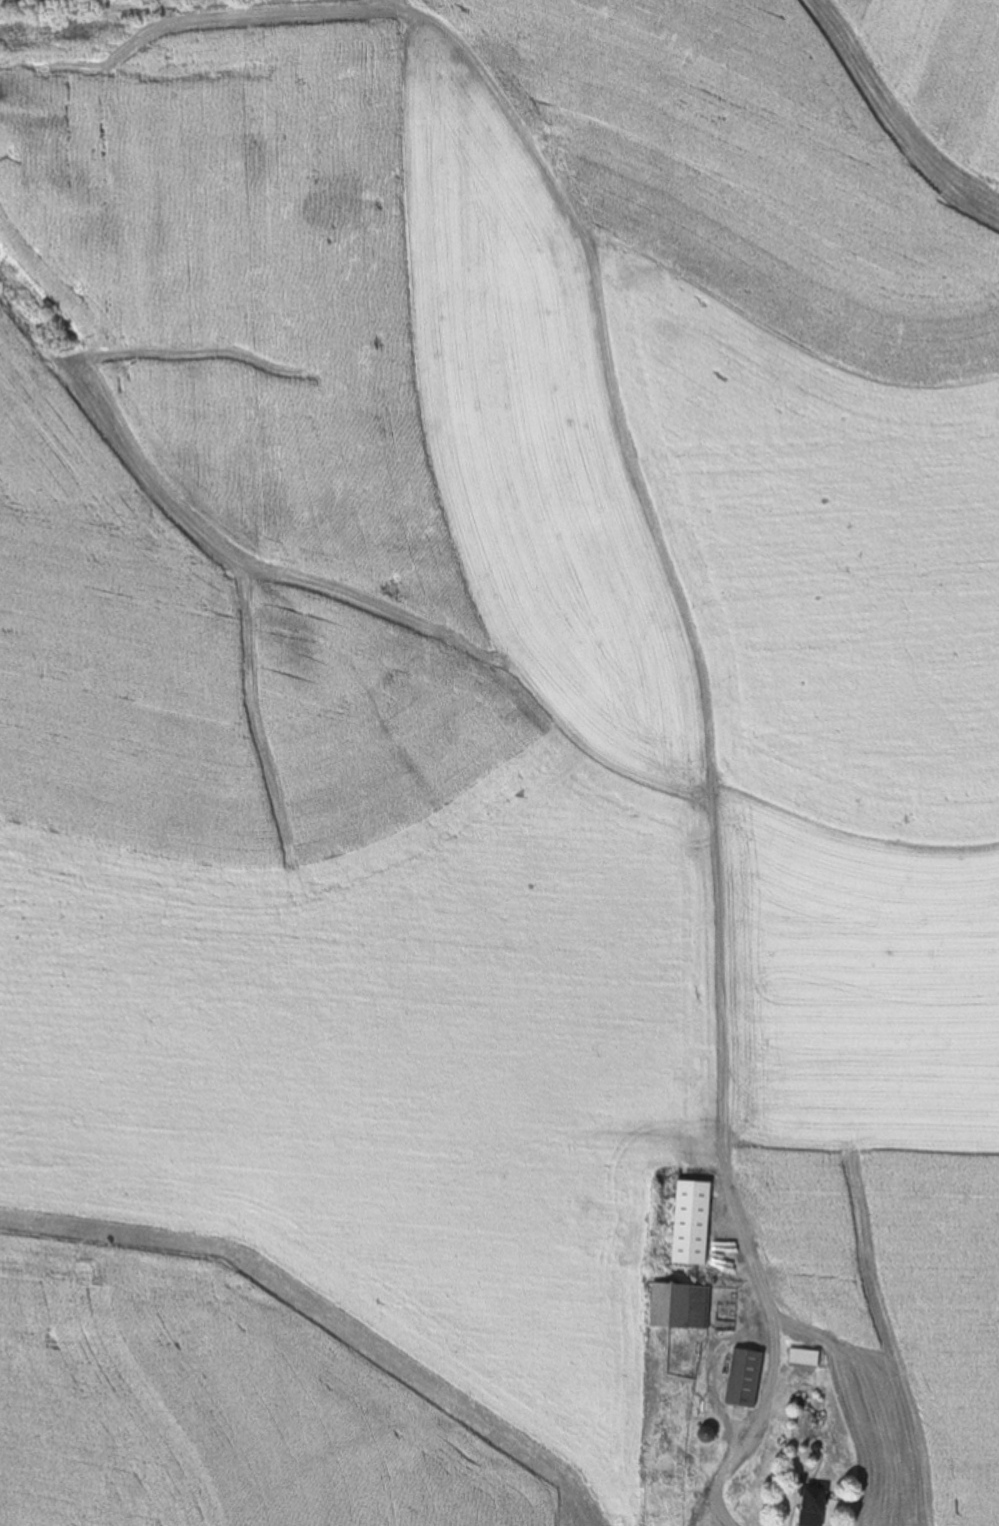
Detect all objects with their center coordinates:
building: (690, 1224)
building: (679, 1307)
building: (803, 1358)
building: (743, 1379)
road: (720, 1474)
building: (812, 1507)

